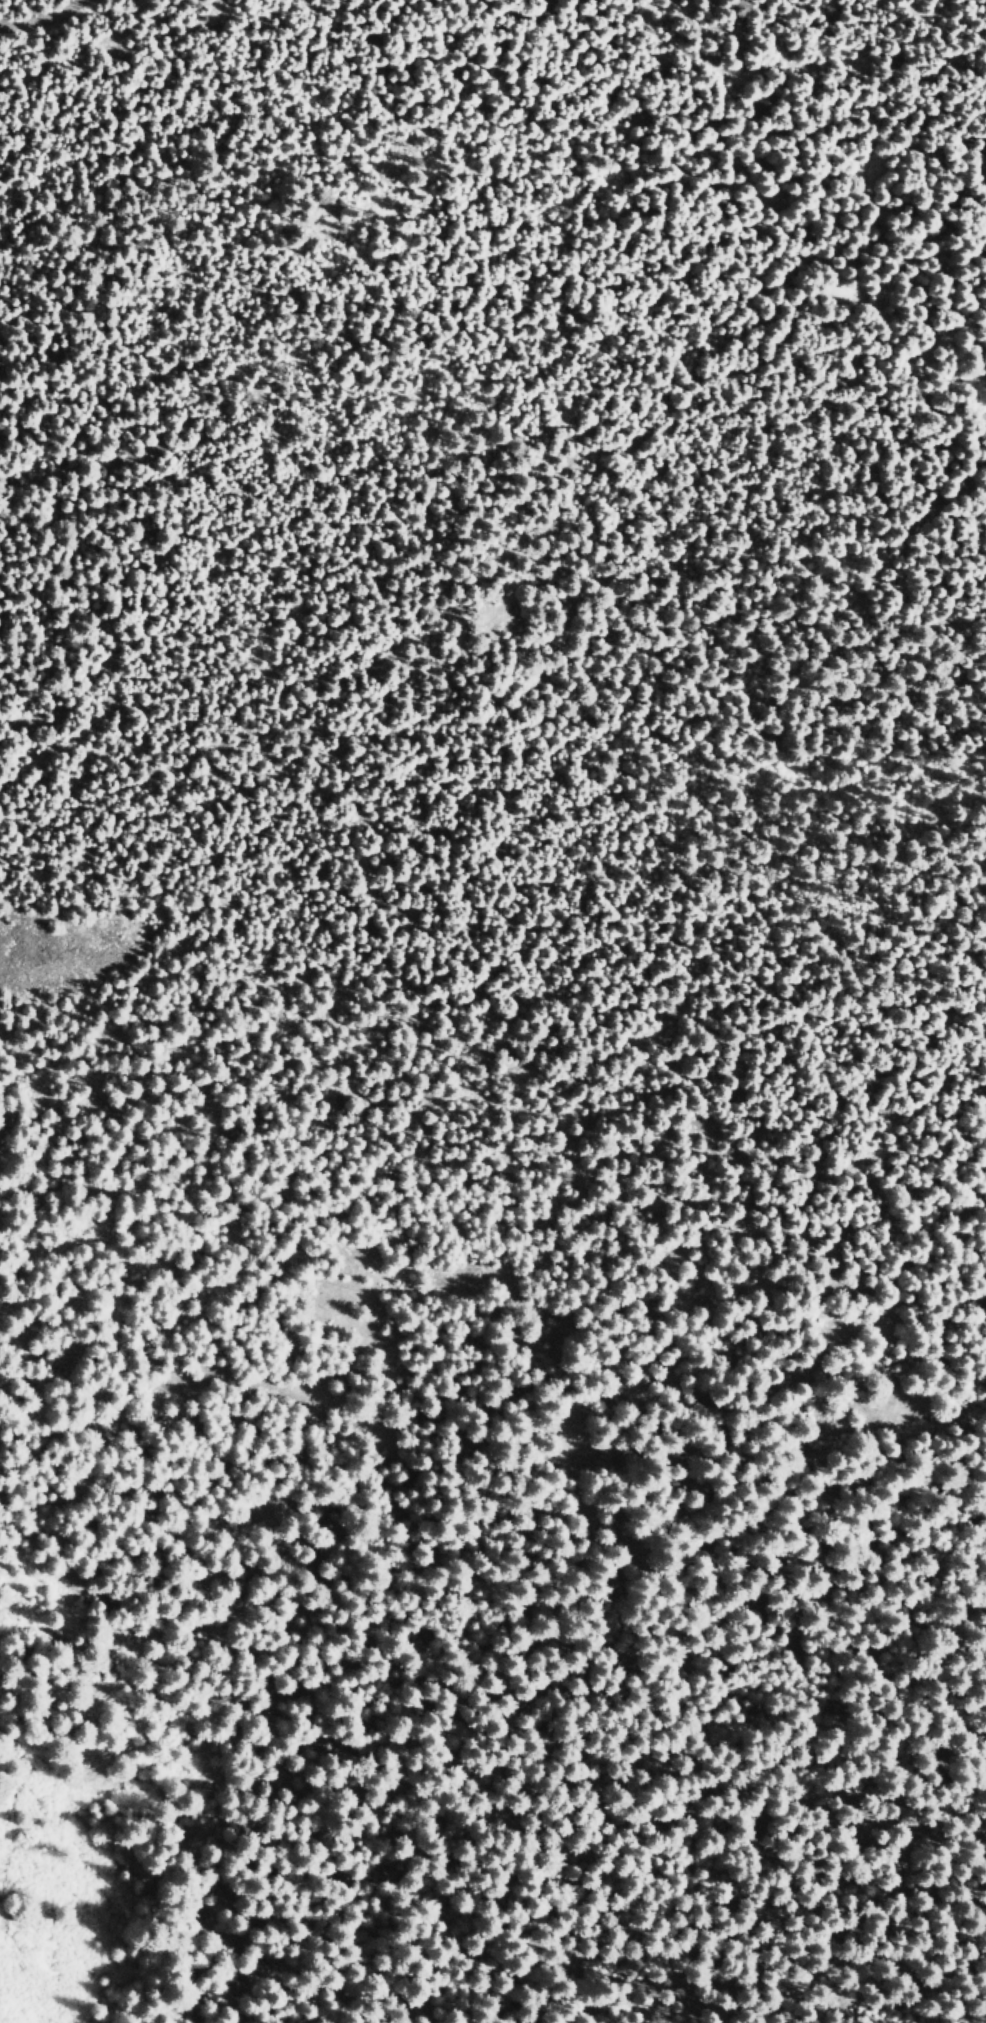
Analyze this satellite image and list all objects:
road: (49, 15)
road: (881, 388)

